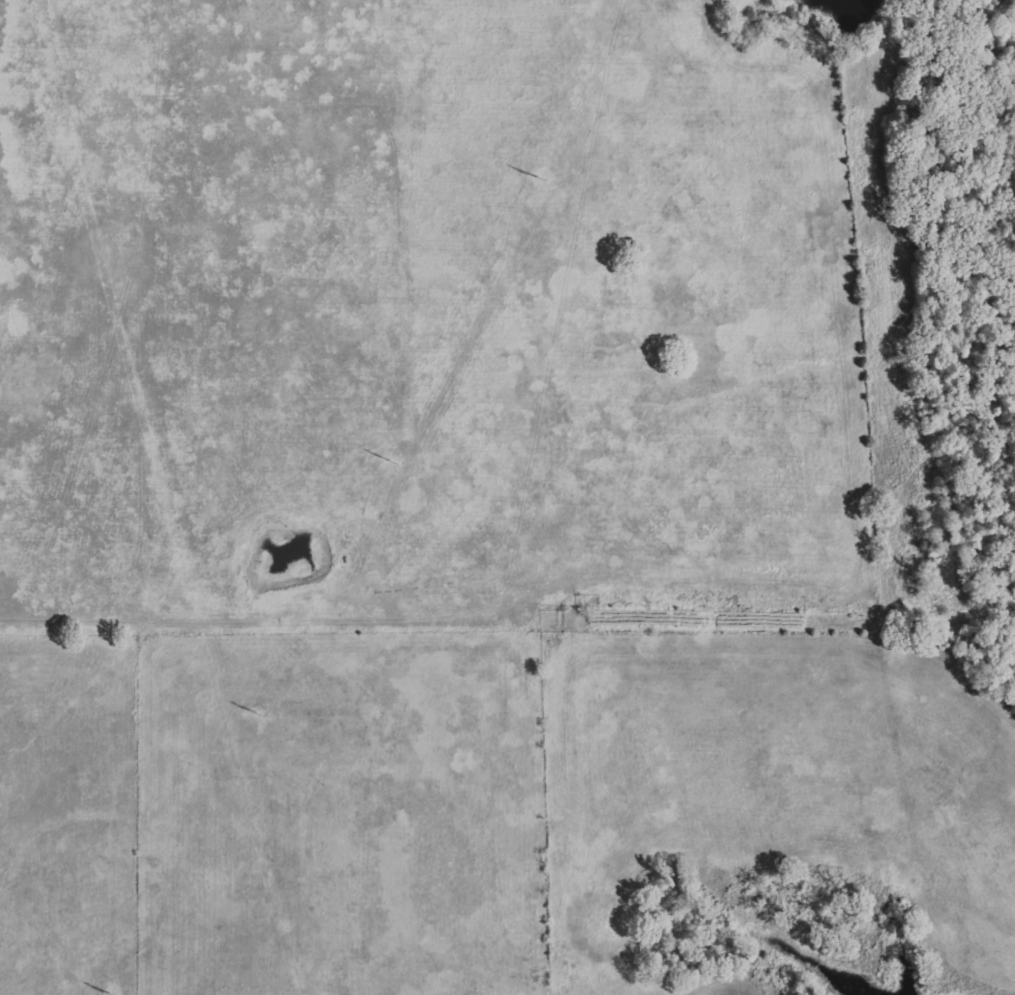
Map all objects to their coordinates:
power tower: (539, 176)
power tower: (387, 460)
power tower: (244, 715)
power tower: (95, 994)

